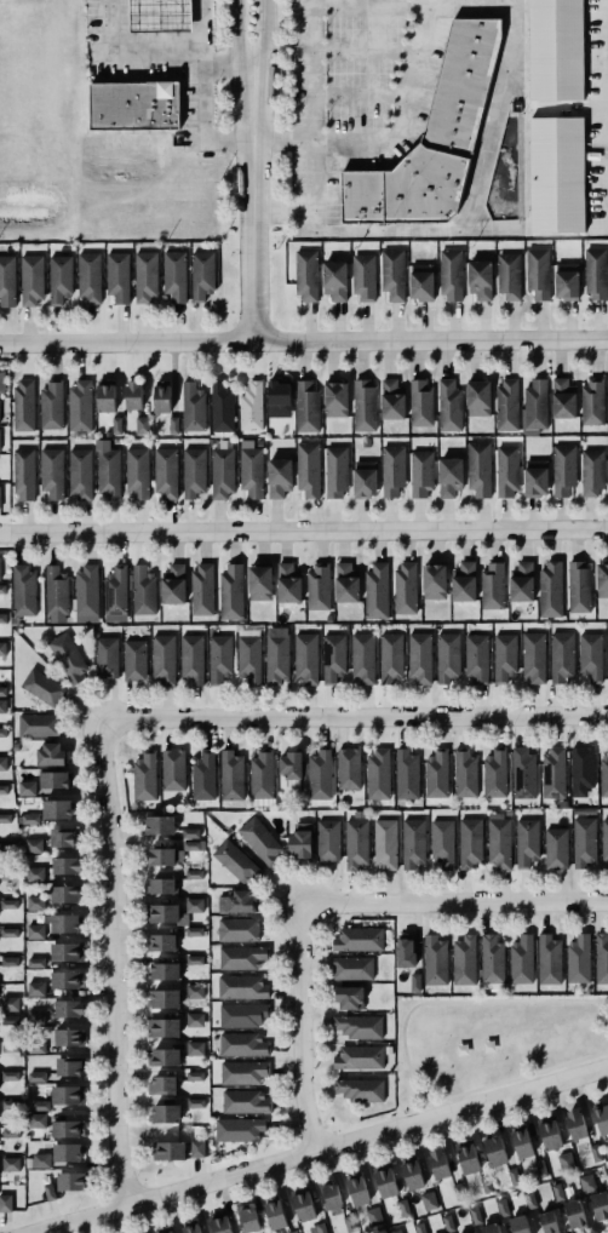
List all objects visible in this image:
building: (164, 16)
road: (265, 34)
road: (234, 35)
building: (555, 50)
road: (219, 55)
road: (194, 57)
building: (134, 107)
road: (398, 109)
road: (280, 137)
building: (432, 137)
building: (557, 173)
road: (253, 202)
road: (281, 211)
road: (367, 230)
building: (391, 273)
building: (538, 273)
building: (173, 274)
building: (596, 274)
building: (144, 275)
building: (451, 275)
building: (507, 275)
building: (202, 276)
building: (306, 276)
building: (362, 276)
building: (59, 277)
building: (88, 277)
building: (117, 277)
building: (478, 279)
building: (31, 280)
building: (6, 281)
building: (335, 281)
building: (420, 281)
building: (567, 281)
road: (303, 340)
building: (1, 380)
building: (133, 395)
building: (104, 397)
building: (162, 397)
building: (279, 398)
building: (334, 398)
building: (478, 398)
building: (563, 398)
building: (390, 400)
building: (591, 401)
building: (420, 402)
building: (23, 405)
building: (506, 405)
building: (51, 406)
building: (305, 406)
building: (362, 406)
building: (448, 406)
building: (535, 406)
building: (79, 407)
building: (193, 407)
building: (251, 407)
building: (222, 408)
building: (173, 424)
building: (115, 425)
building: (142, 425)
building: (0, 432)
building: (249, 469)
building: (309, 469)
building: (391, 469)
building: (480, 469)
building: (563, 469)
building: (506, 470)
building: (334, 471)
building: (591, 471)
building: (50, 472)
building: (109, 472)
building: (137, 472)
building: (166, 472)
building: (194, 472)
building: (420, 472)
building: (79, 474)
building: (222, 474)
building: (24, 475)
building: (535, 476)
building: (279, 477)
building: (451, 477)
building: (365, 480)
building: (0, 497)
road: (304, 532)
building: (0, 561)
building: (601, 580)
building: (522, 581)
building: (259, 583)
building: (345, 583)
building: (434, 583)
building: (464, 583)
building: (173, 584)
building: (286, 584)
building: (317, 586)
building: (492, 586)
building: (578, 586)
building: (403, 587)
building: (2, 589)
building: (550, 589)
building: (23, 590)
building: (200, 590)
building: (375, 590)
building: (56, 591)
building: (115, 591)
building: (143, 591)
building: (231, 592)
building: (85, 593)
building: (2, 618)
building: (2, 649)
building: (248, 655)
building: (561, 655)
building: (590, 655)
building: (105, 656)
building: (276, 656)
building: (362, 656)
building: (390, 656)
building: (447, 656)
building: (504, 656)
building: (533, 656)
building: (607, 656)
building: (65, 658)
building: (162, 658)
building: (190, 658)
building: (218, 658)
building: (305, 658)
building: (419, 658)
building: (476, 658)
building: (133, 659)
building: (333, 659)
building: (41, 687)
building: (2, 692)
building: (2, 706)
road: (352, 718)
building: (38, 724)
building: (50, 755)
building: (2, 763)
building: (289, 765)
building: (581, 767)
building: (348, 768)
building: (172, 769)
building: (464, 773)
building: (494, 773)
building: (552, 773)
building: (260, 774)
building: (319, 774)
building: (377, 774)
building: (406, 774)
building: (435, 774)
building: (522, 774)
building: (202, 775)
building: (230, 775)
building: (604, 775)
building: (144, 776)
building: (53, 779)
building: (27, 788)
building: (2, 790)
building: (57, 809)
building: (5, 818)
building: (157, 824)
building: (191, 833)
building: (63, 838)
building: (604, 839)
building: (260, 841)
building: (300, 841)
building: (328, 841)
building: (499, 841)
building: (583, 841)
building: (412, 842)
building: (469, 842)
building: (526, 842)
building: (355, 843)
building: (384, 843)
building: (442, 843)
building: (34, 845)
building: (194, 845)
building: (555, 849)
building: (166, 856)
building: (236, 862)
building: (65, 865)
building: (194, 873)
building: (35, 874)
building: (161, 887)
building: (65, 894)
building: (35, 902)
building: (236, 902)
building: (8, 904)
road: (329, 905)
building: (172, 912)
building: (65, 923)
building: (237, 929)
building: (194, 930)
building: (36, 931)
building: (10, 933)
building: (357, 939)
building: (160, 942)
building: (67, 952)
building: (406, 953)
building: (241, 957)
building: (579, 958)
building: (601, 958)
building: (194, 959)
building: (522, 959)
building: (435, 960)
building: (463, 960)
building: (547, 960)
building: (8, 962)
building: (35, 962)
building: (491, 962)
road: (111, 963)
building: (352, 969)
building: (162, 971)
building: (68, 980)
building: (415, 982)
building: (242, 987)
building: (36, 988)
building: (195, 991)
building: (350, 998)
building: (165, 999)
building: (10, 1004)
building: (70, 1009)
building: (242, 1015)
building: (36, 1017)
building: (195, 1020)
building: (359, 1026)
building: (161, 1027)
park: (561, 1033)
building: (69, 1037)
park: (488, 1043)
building: (242, 1045)
building: (11, 1046)
building: (195, 1049)
building: (164, 1055)
building: (360, 1057)
building: (70, 1067)
building: (243, 1073)
building: (10, 1076)
building: (195, 1076)
building: (36, 1077)
building: (162, 1085)
building: (359, 1089)
road: (412, 1089)
building: (65, 1095)
building: (246, 1102)
building: (195, 1103)
building: (11, 1105)
building: (40, 1106)
building: (166, 1114)
building: (36, 1119)
building: (602, 1119)
building: (577, 1124)
building: (67, 1129)
building: (240, 1130)
building: (11, 1132)
building: (550, 1134)
building: (522, 1142)
building: (197, 1148)
road: (323, 1149)
building: (167, 1151)
building: (494, 1151)
building: (67, 1153)
building: (469, 1158)
building: (41, 1160)
building: (566, 1162)
building: (10, 1164)
building: (437, 1164)
building: (540, 1169)
building: (607, 1172)
building: (413, 1175)
building: (514, 1177)
building: (71, 1181)
building: (587, 1182)
building: (386, 1183)
building: (359, 1191)
building: (557, 1191)
building: (48, 1192)
building: (328, 1194)
building: (528, 1199)
building: (429, 1202)
building: (5, 1203)
building: (600, 1205)
building: (304, 1206)
building: (403, 1208)
building: (501, 1208)
building: (574, 1214)
building: (276, 1215)
building: (374, 1216)
building: (249, 1220)
building: (547, 1222)
building: (220, 1223)
building: (448, 1223)
building: (517, 1225)
building: (319, 1228)
building: (489, 1228)
building: (190, 1229)
building: (168, 1232)
building: (294, 1232)
building: (395, 1232)

